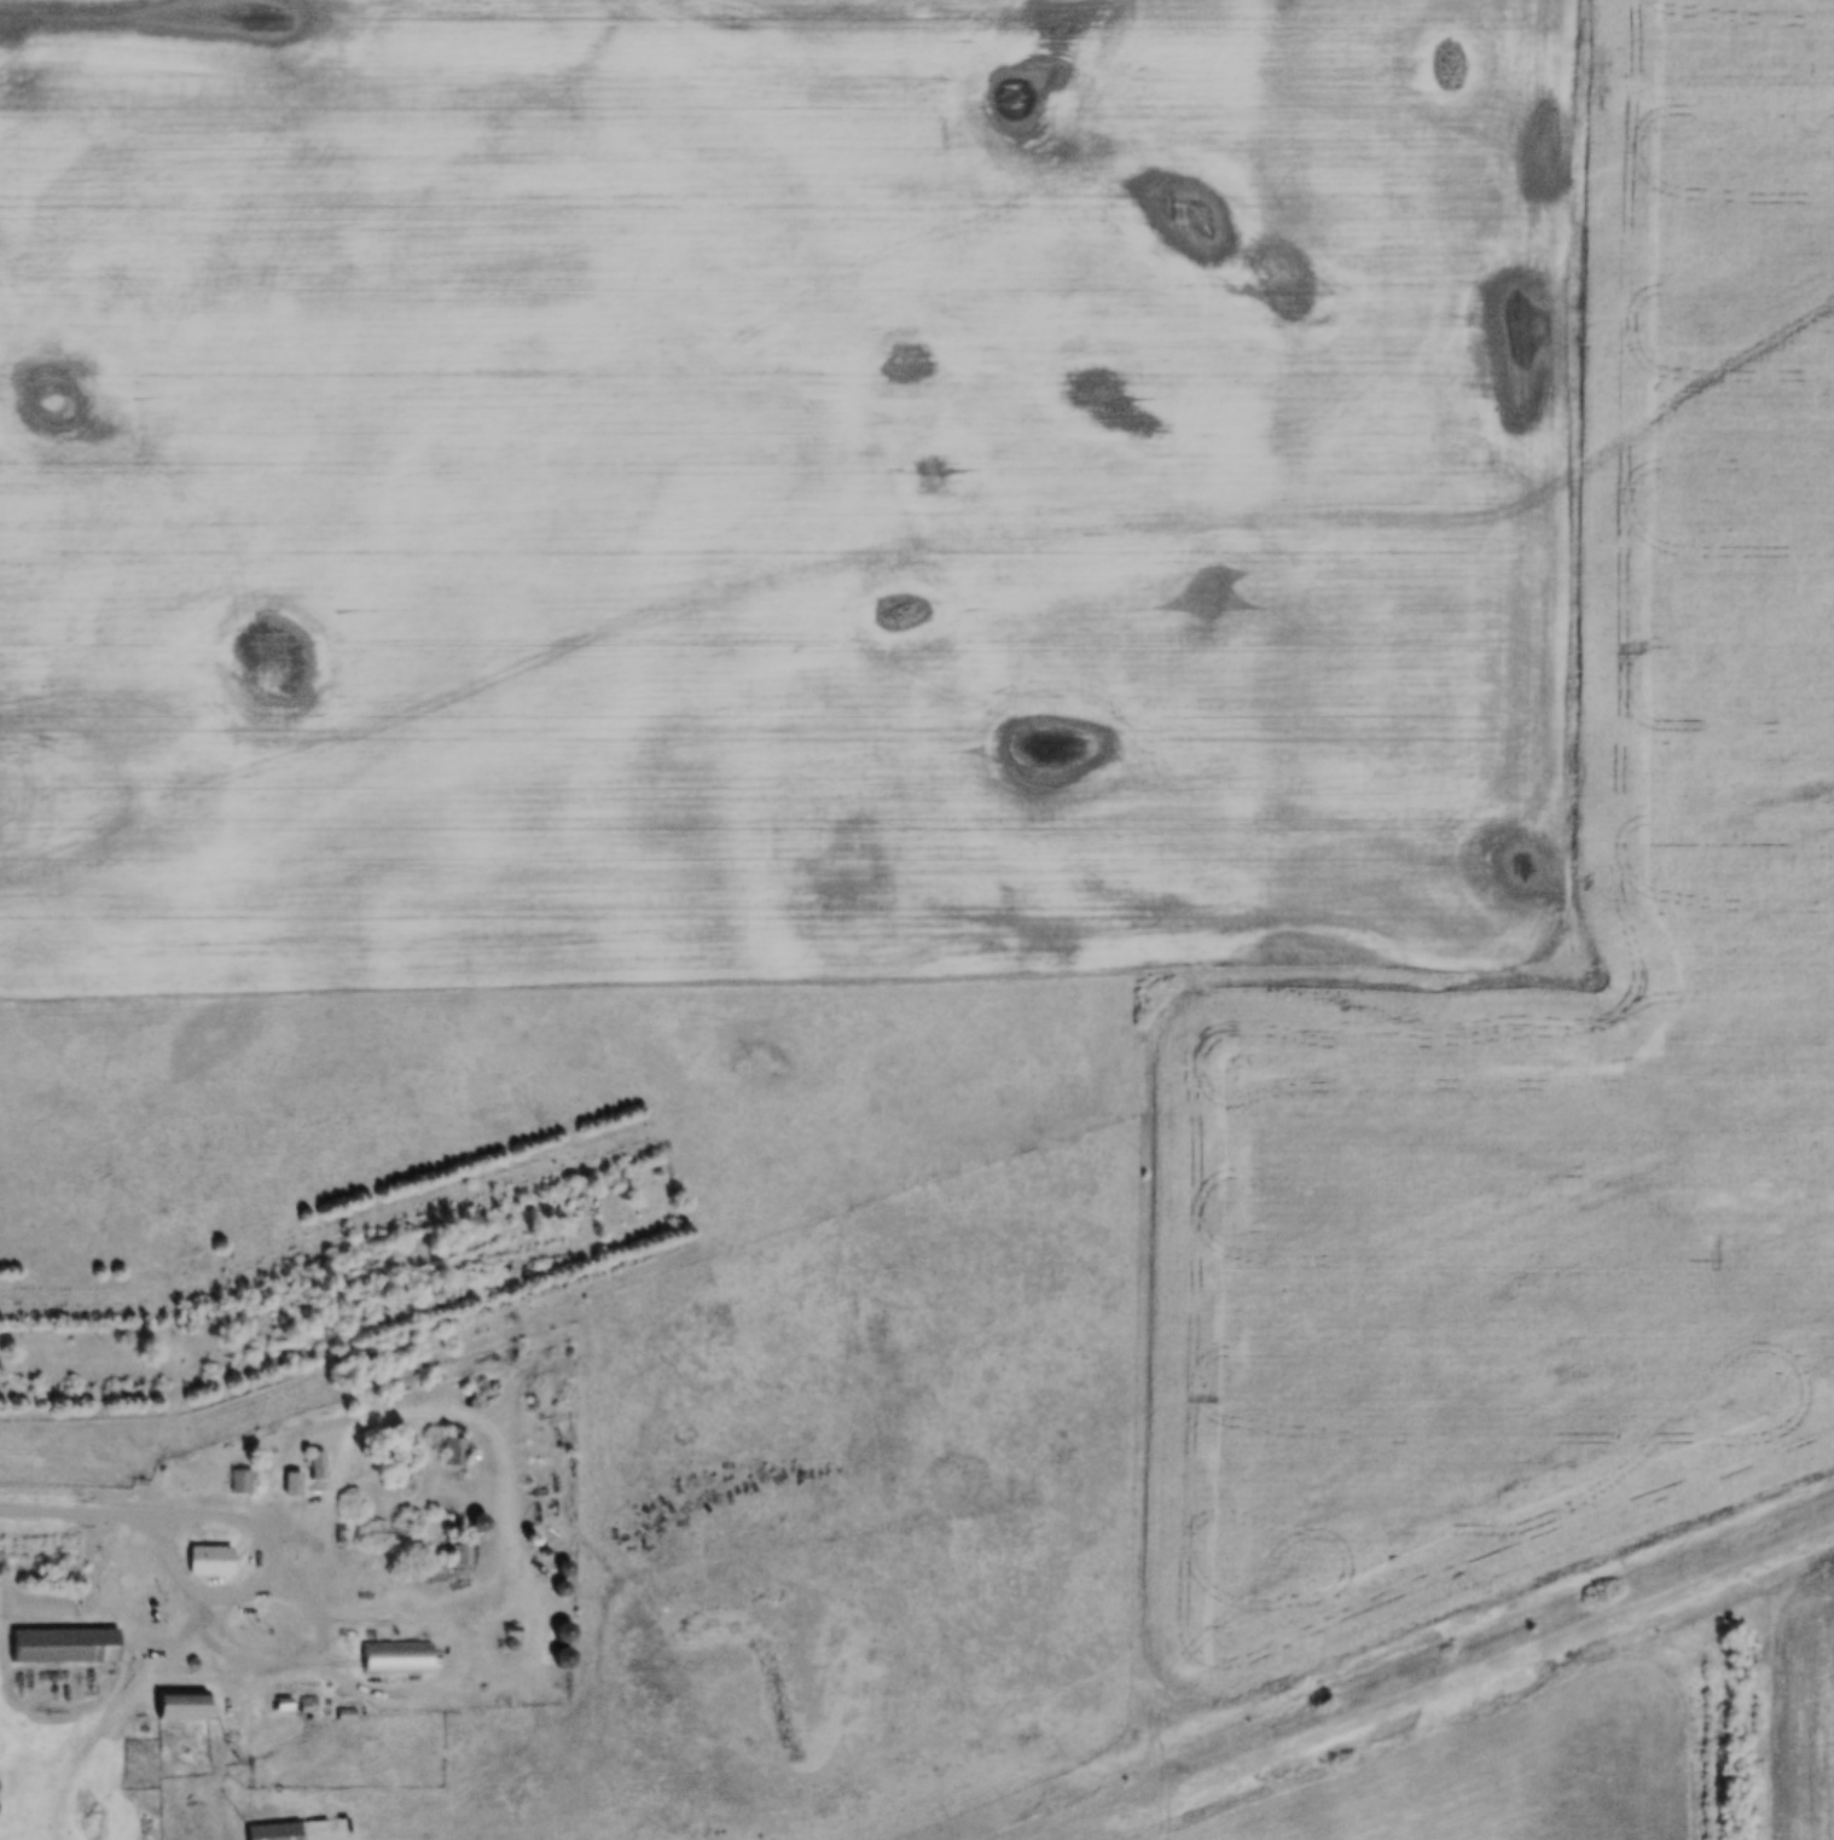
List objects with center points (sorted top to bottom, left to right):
building: (452, 1450)
building: (317, 1464)
building: (240, 1481)
road: (75, 1513)
building: (458, 1548)
building: (208, 1560)
building: (63, 1643)
road: (306, 1654)
building: (395, 1658)
building: (562, 1658)
building: (180, 1702)
building: (272, 1830)

